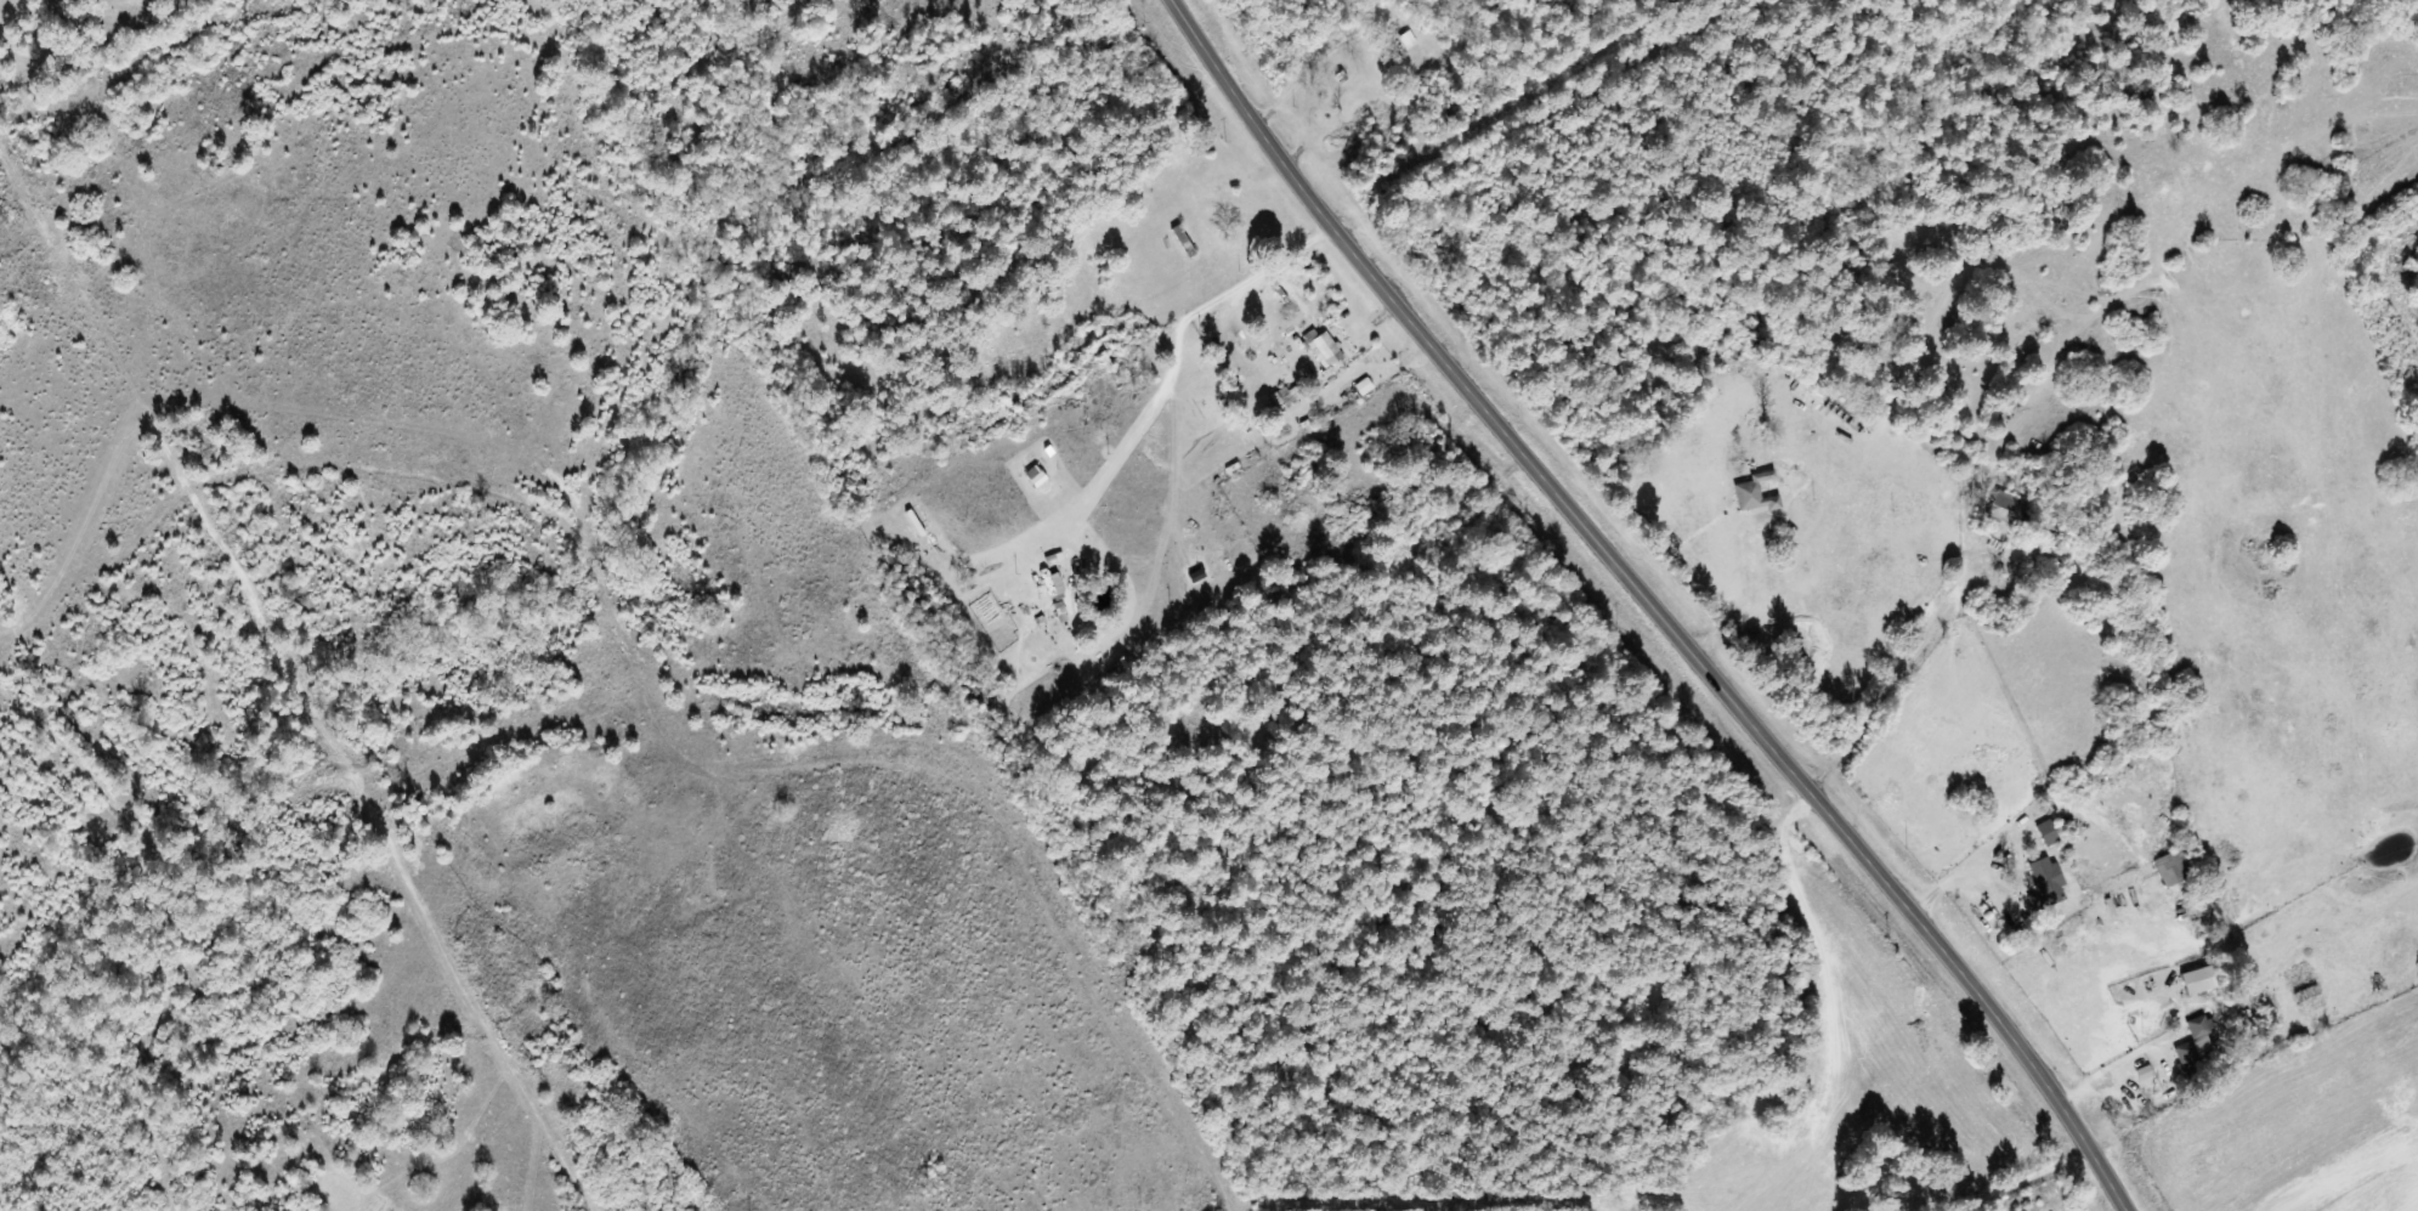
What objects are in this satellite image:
building: (1408, 40)
building: (1338, 141)
building: (1324, 347)
building: (1365, 386)
building: (1749, 496)
building: (2008, 508)
building: (1199, 576)
road: (1649, 605)
building: (2049, 832)
building: (2171, 870)
building: (2046, 883)
building: (2201, 980)
building: (2197, 1047)
road: (622, 1151)
road: (2040, 1182)

